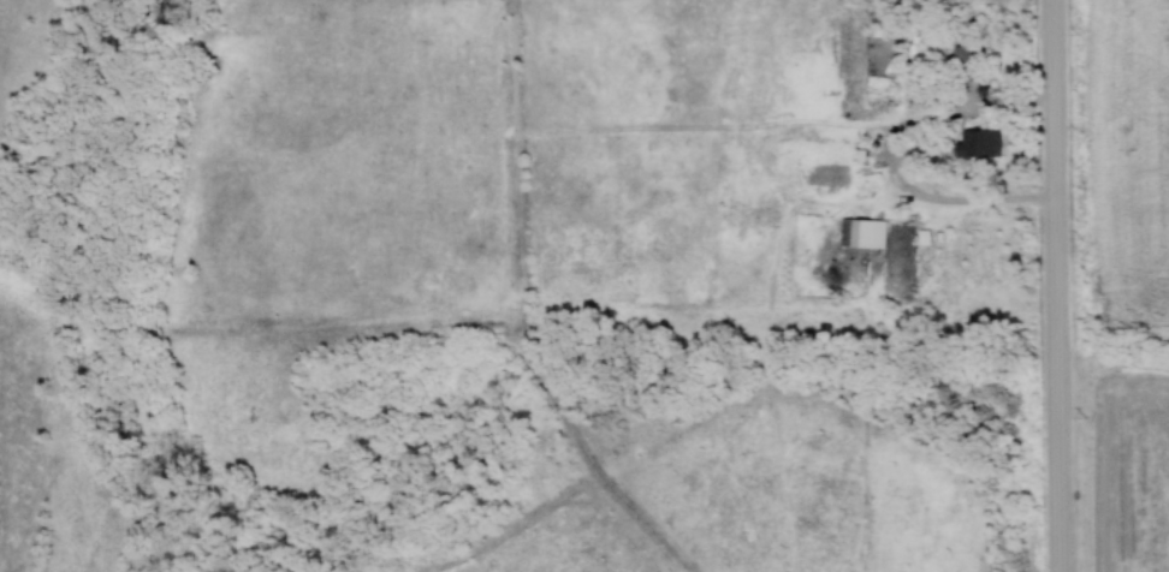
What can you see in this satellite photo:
building: (963, 64)
building: (977, 145)
building: (860, 233)
road: (1056, 286)

